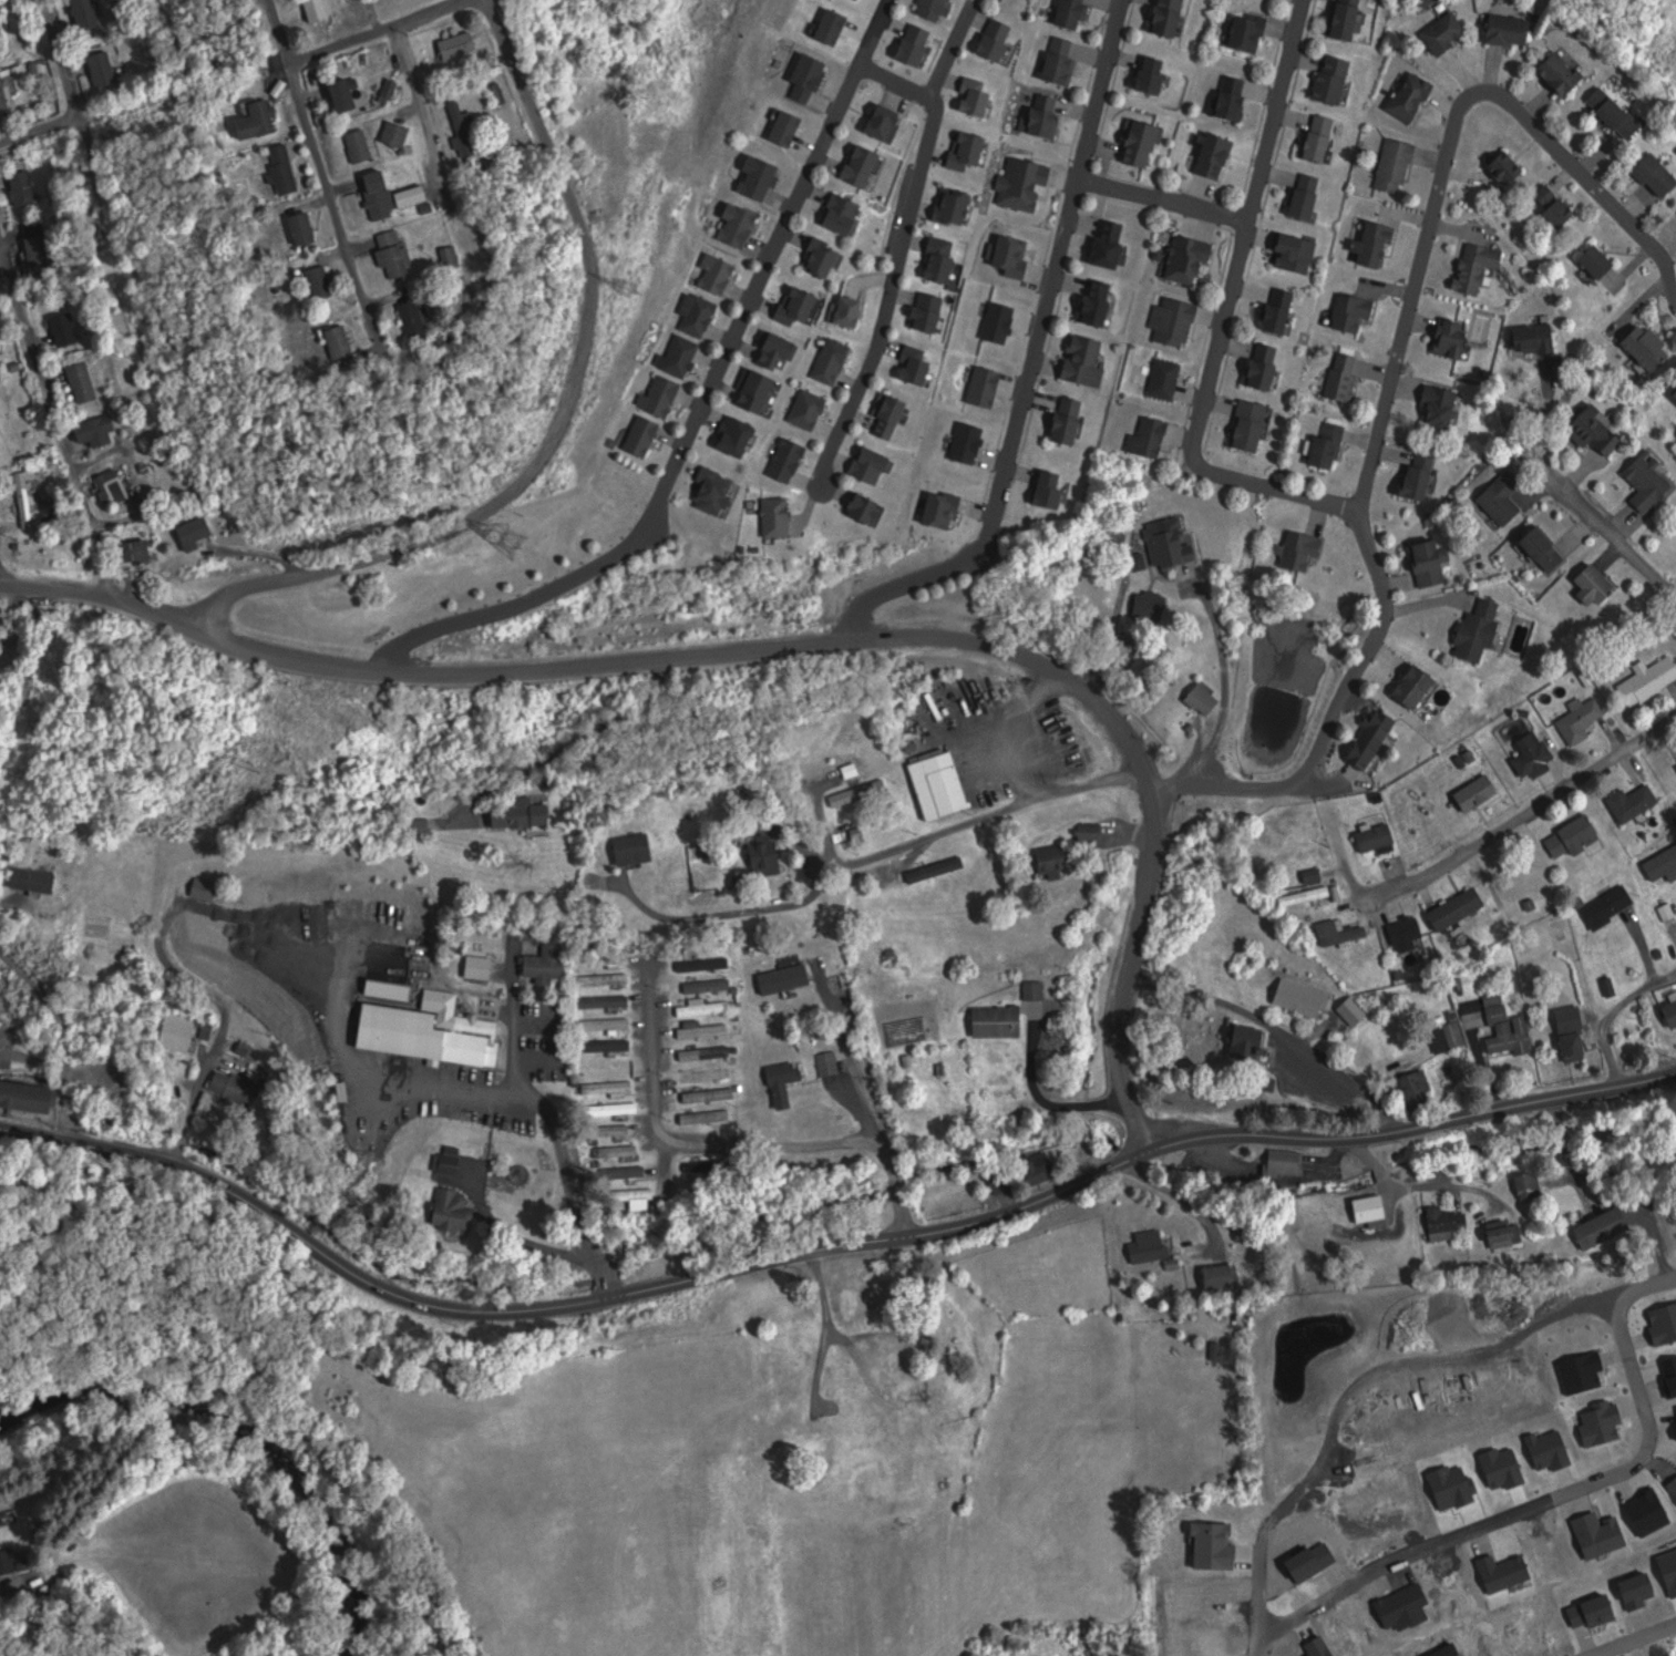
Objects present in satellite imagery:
building: (936, 8)
building: (322, 9)
building: (89, 13)
building: (1063, 13)
building: (1171, 18)
building: (1348, 19)
building: (825, 25)
road: (380, 29)
building: (1511, 30)
building: (1447, 31)
building: (1251, 32)
building: (989, 39)
building: (1, 41)
building: (462, 44)
building: (907, 44)
road: (950, 48)
building: (0, 54)
road: (65, 58)
building: (1052, 60)
building: (109, 68)
building: (1564, 73)
building: (1145, 74)
building: (801, 76)
building: (1336, 79)
building: (392, 91)
building: (501, 93)
building: (347, 94)
building: (4, 95)
building: (1413, 95)
building: (968, 96)
building: (1236, 97)
road: (425, 112)
building: (1616, 113)
building: (1038, 115)
building: (254, 119)
building: (874, 121)
building: (887, 122)
building: (470, 127)
building: (781, 127)
road: (41, 128)
building: (399, 134)
building: (1322, 138)
building: (356, 144)
building: (1145, 144)
building: (960, 150)
building: (1217, 155)
building: (855, 164)
building: (1399, 166)
building: (1509, 168)
building: (279, 172)
building: (1658, 175)
building: (753, 176)
road: (327, 181)
building: (1019, 182)
building: (19, 187)
building: (373, 195)
building: (1309, 196)
road: (1162, 197)
building: (946, 205)
building: (1556, 205)
building: (836, 214)
building: (732, 223)
building: (298, 229)
building: (1375, 243)
building: (1102, 245)
building: (41, 251)
road: (903, 253)
building: (389, 254)
building: (1299, 254)
building: (1005, 255)
building: (454, 256)
building: (814, 257)
building: (934, 258)
building: (1193, 260)
building: (1601, 261)
building: (1480, 267)
building: (712, 272)
building: (323, 281)
building: (1089, 302)
building: (791, 306)
building: (1100, 308)
building: (841, 310)
building: (1283, 310)
building: (922, 311)
road: (1223, 312)
building: (693, 313)
building: (1356, 313)
building: (420, 318)
building: (1169, 320)
building: (994, 321)
building: (60, 329)
building: (1453, 338)
building: (1538, 338)
building: (333, 341)
building: (1651, 347)
building: (767, 349)
building: (781, 351)
building: (676, 357)
road: (1032, 357)
building: (1078, 359)
building: (827, 361)
building: (907, 363)
road: (1395, 363)
building: (1266, 366)
building: (1346, 376)
building: (79, 378)
building: (1161, 379)
building: (980, 385)
building: (749, 392)
building: (657, 395)
road: (701, 404)
building: (1442, 407)
building: (804, 409)
road: (1542, 411)
building: (883, 413)
road: (564, 415)
road: (55, 418)
building: (1061, 420)
building: (1252, 425)
building: (91, 430)
building: (1598, 431)
building: (637, 435)
building: (729, 435)
building: (1145, 436)
building: (0, 441)
building: (963, 443)
building: (1331, 444)
building: (782, 460)
building: (863, 464)
building: (1422, 475)
building: (1643, 481)
building: (113, 484)
building: (1055, 487)
building: (1042, 490)
building: (0, 491)
building: (708, 491)
building: (1505, 496)
building: (29, 498)
building: (856, 508)
building: (936, 508)
building: (771, 516)
road: (1603, 523)
building: (189, 532)
building: (1171, 542)
power tower: (512, 544)
building: (1546, 548)
building: (138, 549)
building: (1305, 549)
road: (265, 552)
building: (1432, 560)
building: (1597, 585)
building: (1153, 605)
building: (1480, 630)
road: (789, 644)
building: (1645, 678)
building: (1418, 686)
building: (1206, 698)
building: (1576, 718)
building: (1374, 738)
road: (573, 744)
building: (1529, 758)
building: (1674, 768)
building: (943, 783)
building: (860, 792)
building: (1471, 793)
building: (1628, 802)
road: (1530, 810)
building: (525, 812)
road: (958, 827)
building: (1370, 835)
building: (1571, 836)
building: (637, 847)
building: (767, 856)
building: (1057, 858)
building: (1665, 862)
building: (938, 868)
road: (1350, 871)
building: (1315, 875)
building: (38, 878)
building: (207, 888)
building: (1308, 895)
building: (266, 904)
building: (1604, 906)
building: (1451, 908)
road: (731, 912)
building: (1333, 932)
building: (1401, 933)
building: (606, 959)
building: (547, 965)
building: (483, 966)
building: (788, 978)
building: (608, 980)
building: (710, 985)
building: (1037, 989)
building: (1303, 997)
building: (610, 1000)
building: (707, 1008)
building: (1355, 1010)
building: (1672, 1010)
road: (228, 1017)
road: (516, 1017)
building: (1000, 1020)
building: (609, 1024)
road: (68, 1028)
building: (1510, 1028)
building: (188, 1029)
building: (706, 1029)
building: (1450, 1036)
building: (476, 1040)
building: (1252, 1042)
building: (1575, 1045)
building: (708, 1052)
building: (832, 1062)
building: (708, 1074)
building: (341, 1076)
road: (656, 1078)
building: (788, 1081)
building: (238, 1082)
building: (611, 1087)
building: (1420, 1088)
building: (712, 1093)
building: (28, 1096)
road: (1048, 1099)
building: (617, 1108)
building: (708, 1115)
building: (619, 1129)
road: (770, 1146)
building: (621, 1150)
road: (888, 1153)
building: (453, 1162)
building: (1286, 1162)
building: (1041, 1169)
building: (630, 1171)
road: (1627, 1175)
building: (1004, 1182)
building: (1531, 1184)
road: (574, 1185)
road: (1463, 1185)
road: (1175, 1193)
building: (640, 1196)
building: (456, 1207)
building: (1372, 1207)
building: (1449, 1222)
building: (1610, 1224)
building: (1505, 1235)
building: (1150, 1246)
road: (825, 1248)
building: (1224, 1275)
building: (861, 1300)
building: (1660, 1324)
building: (1581, 1372)
building: (1668, 1375)
building: (1647, 1390)
building: (1614, 1392)
building: (1588, 1396)
building: (1483, 1405)
building: (1515, 1405)
building: (1675, 1408)
building: (1411, 1410)
building: (1314, 1416)
building: (1382, 1419)
building: (1597, 1422)
building: (1674, 1427)
building: (923, 1430)
building: (1673, 1438)
building: (810, 1439)
river: (245, 1444)
building: (1605, 1449)
building: (1546, 1450)
building: (1657, 1452)
building: (1498, 1467)
building: (1411, 1471)
building: (1378, 1474)
building: (1337, 1475)
building: (1307, 1482)
building: (1670, 1483)
building: (1449, 1487)
road: (1556, 1498)
building: (1643, 1511)
building: (1596, 1533)
building: (1662, 1535)
building: (1628, 1537)
building: (1205, 1544)
building: (1566, 1551)
building: (1530, 1553)
building: (1435, 1557)
building: (1464, 1557)
building: (1307, 1560)
building: (7, 1564)
building: (1397, 1564)
building: (1334, 1567)
building: (1365, 1568)
building: (1666, 1570)
building: (1500, 1571)
building: (1262, 1577)
building: (1452, 1586)
building: (1632, 1587)
building: (1400, 1606)
building: (1569, 1611)
building: (1587, 1611)
building: (1638, 1615)
building: (1538, 1617)
building: (1472, 1622)
building: (1504, 1623)
building: (1374, 1632)
building: (1407, 1632)
building: (1334, 1634)
building: (1298, 1636)
building: (1264, 1638)
road: (1632, 1639)
building: (1315, 1646)
building: (760, 1649)
building: (1442, 1650)
building: (1668, 1655)

